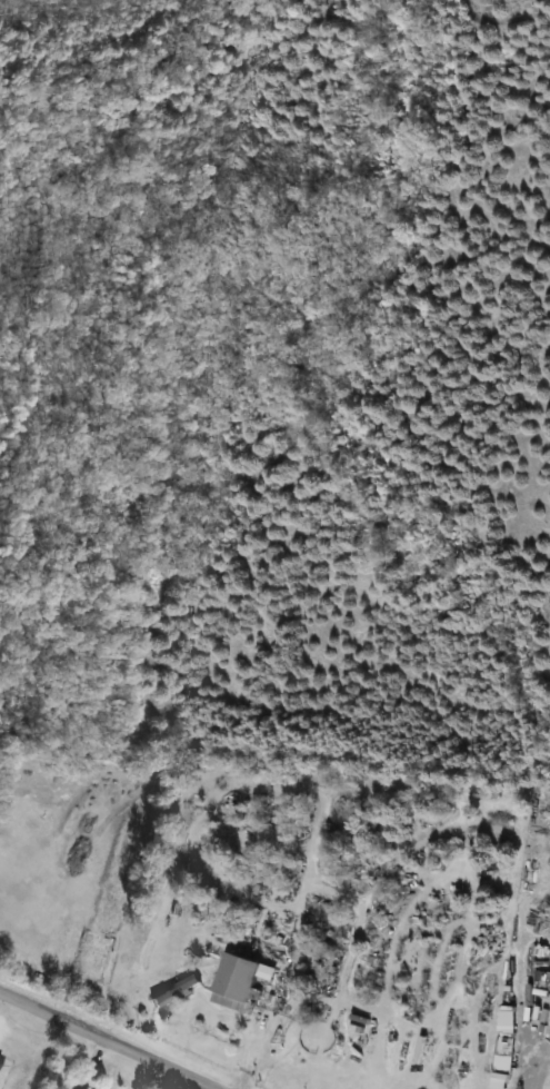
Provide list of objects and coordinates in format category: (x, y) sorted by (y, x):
building: (236, 982)
building: (173, 990)
road: (107, 1039)
building: (1, 1056)
building: (76, 1088)

